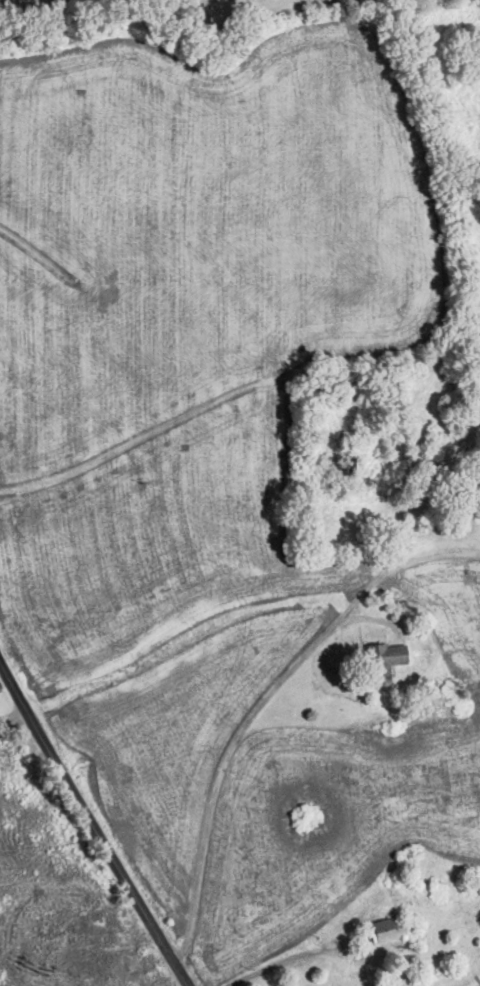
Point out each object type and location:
building: (474, 320)
building: (473, 399)
building: (341, 463)
building: (384, 661)
road: (292, 669)
building: (448, 684)
road: (14, 718)
road: (92, 826)
building: (388, 930)

